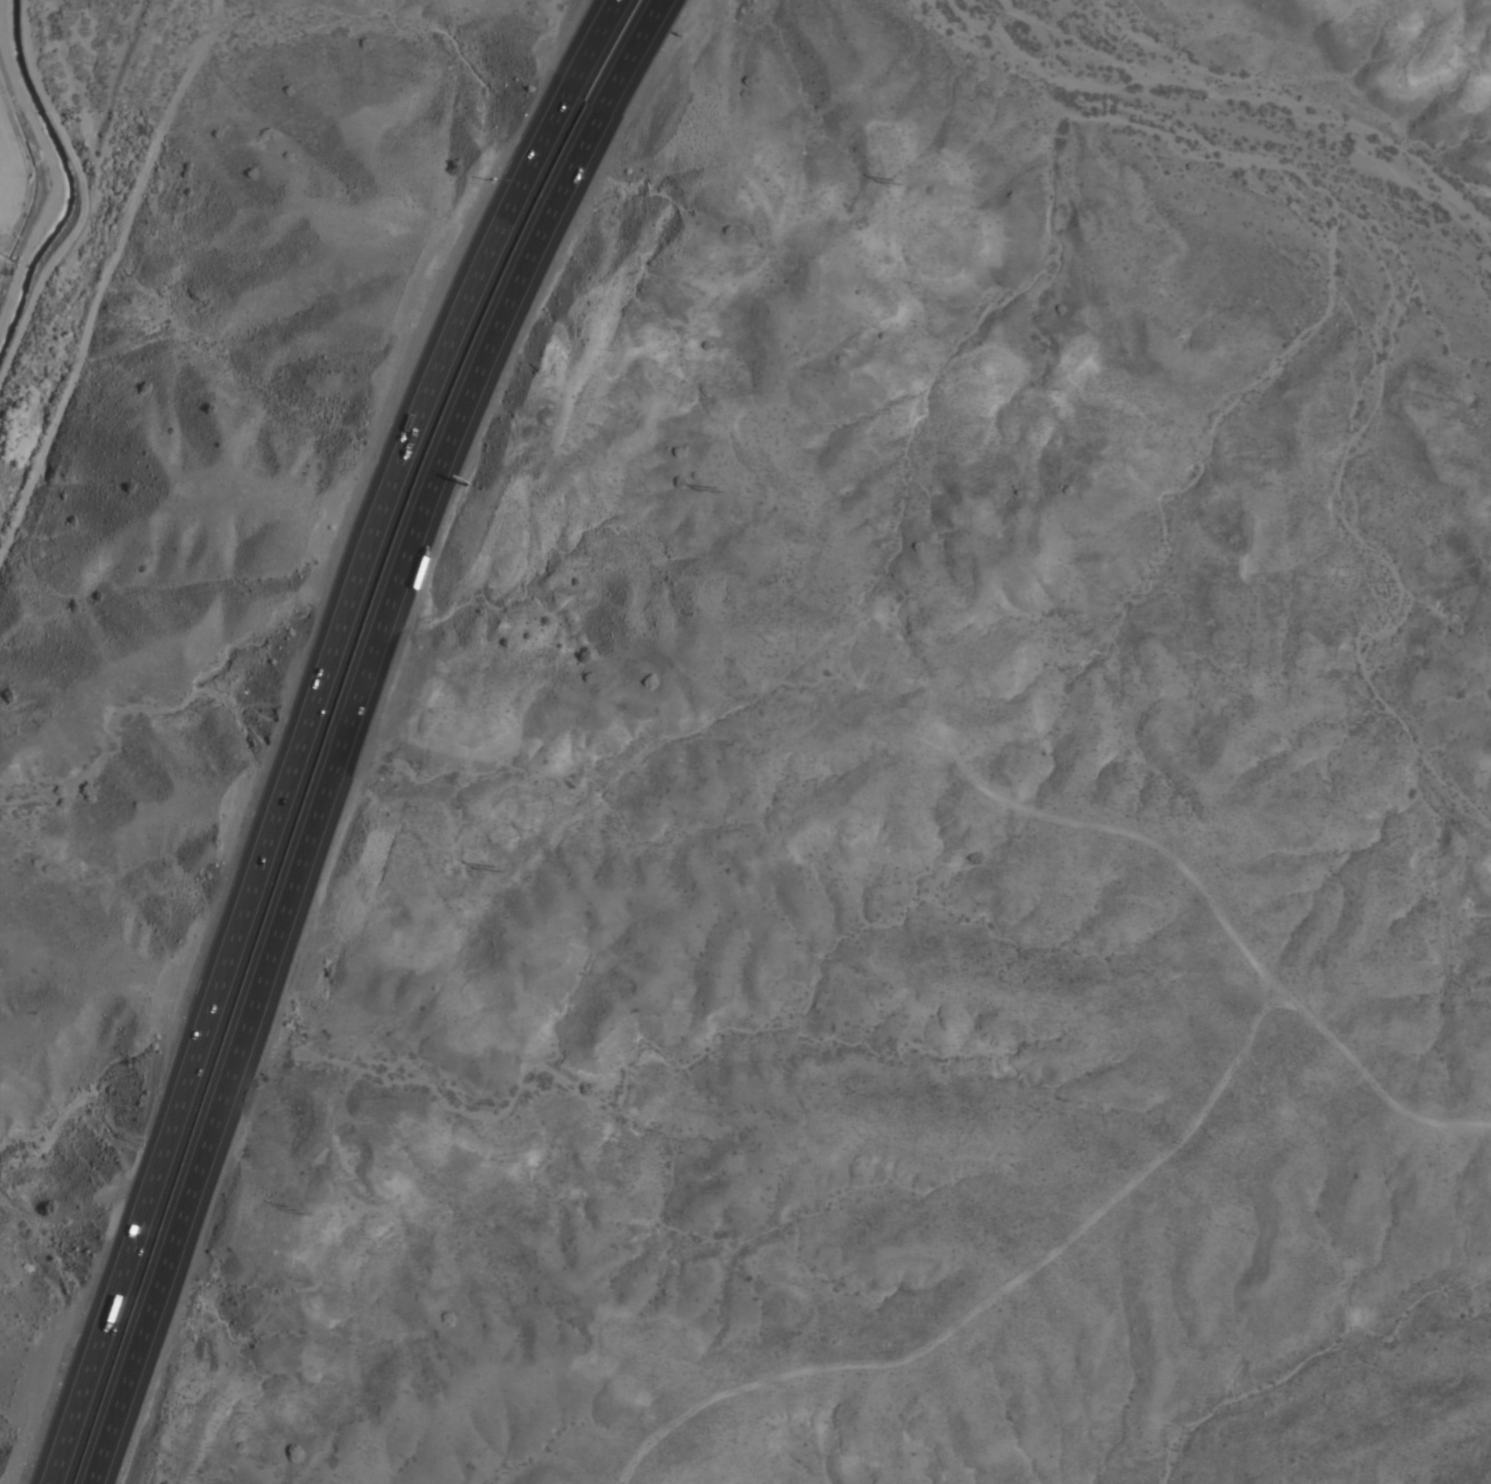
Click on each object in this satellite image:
road: (104, 278)
road: (295, 730)
road: (359, 734)

